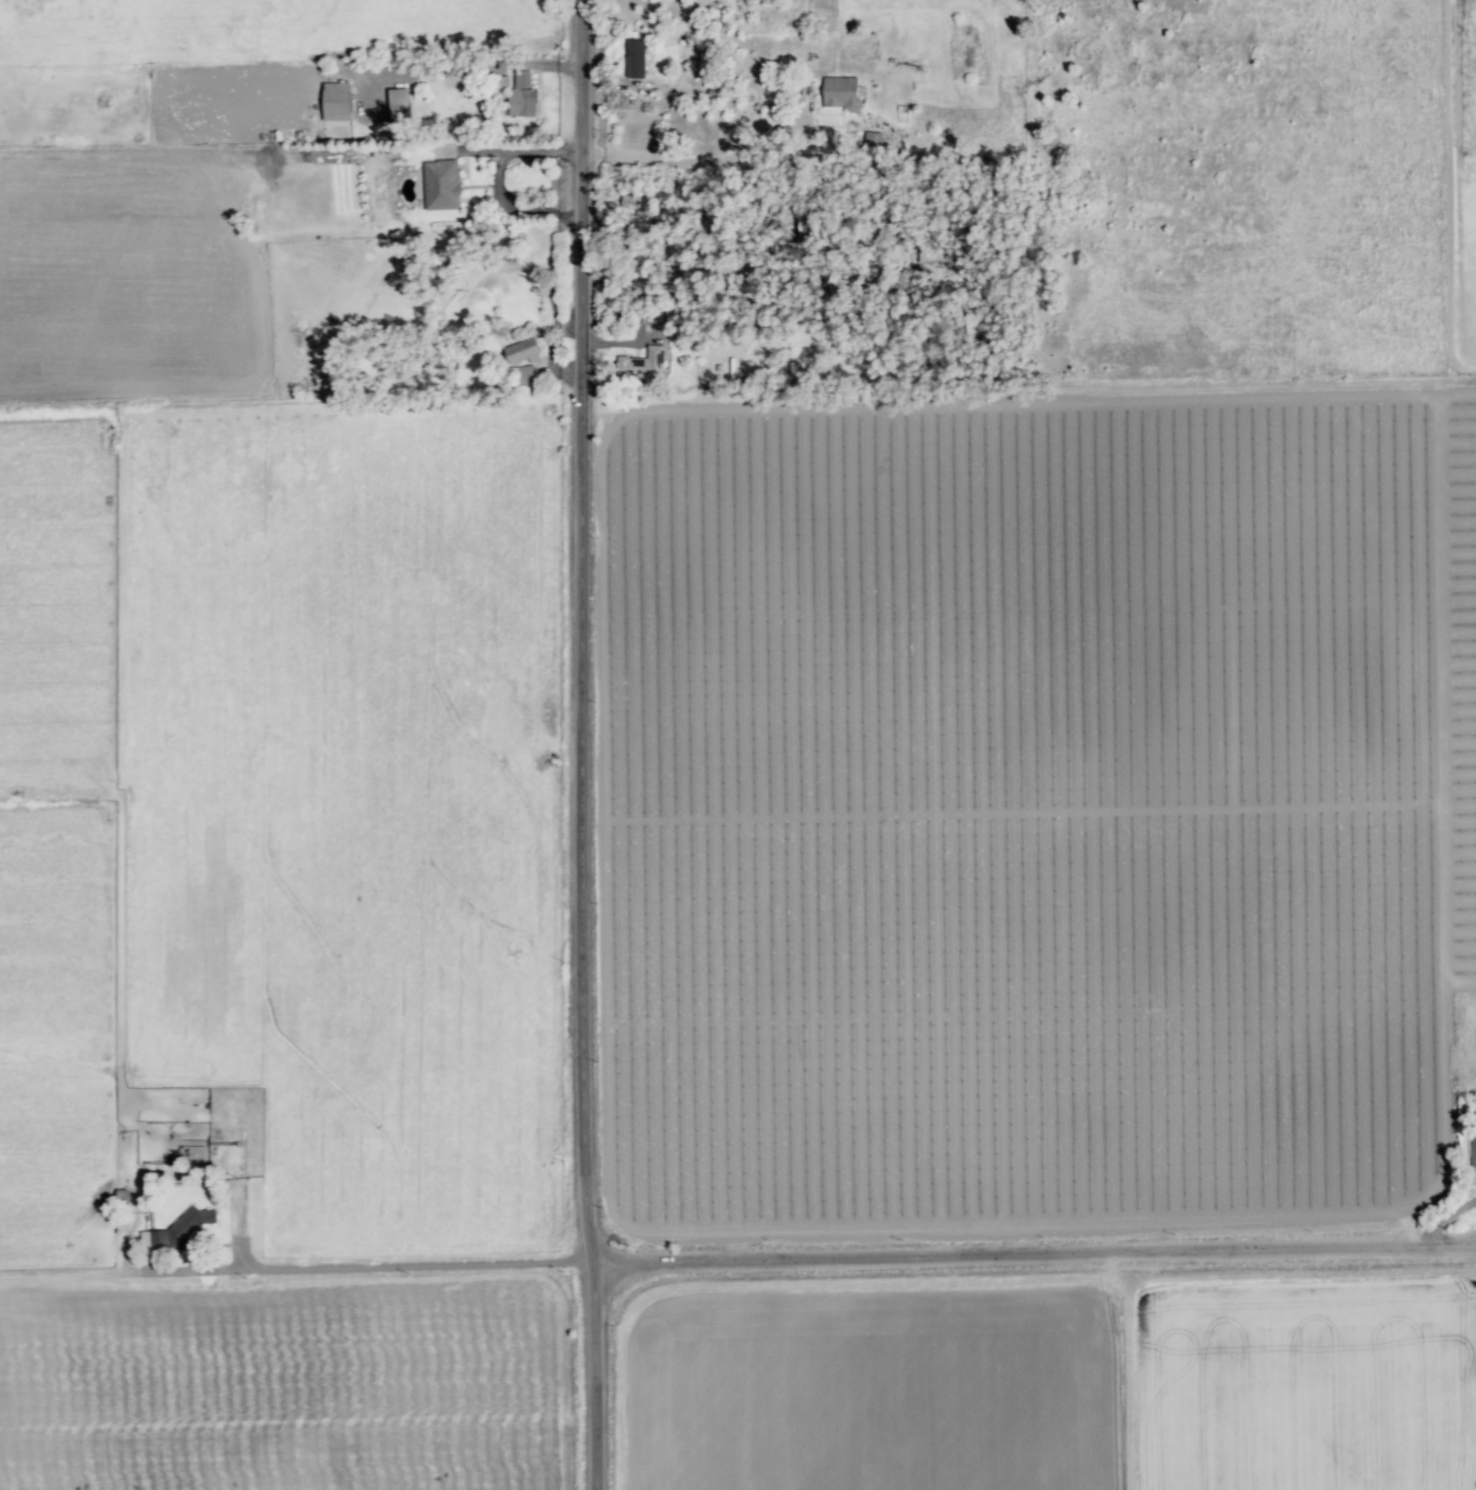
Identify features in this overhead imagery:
building: (634, 58)
road: (474, 63)
building: (840, 92)
building: (521, 94)
building: (335, 102)
building: (398, 104)
building: (872, 140)
road: (681, 163)
road: (498, 180)
building: (441, 184)
building: (522, 352)
building: (642, 362)
building: (524, 375)
road: (588, 745)
building: (1473, 1150)
road: (872, 1256)

